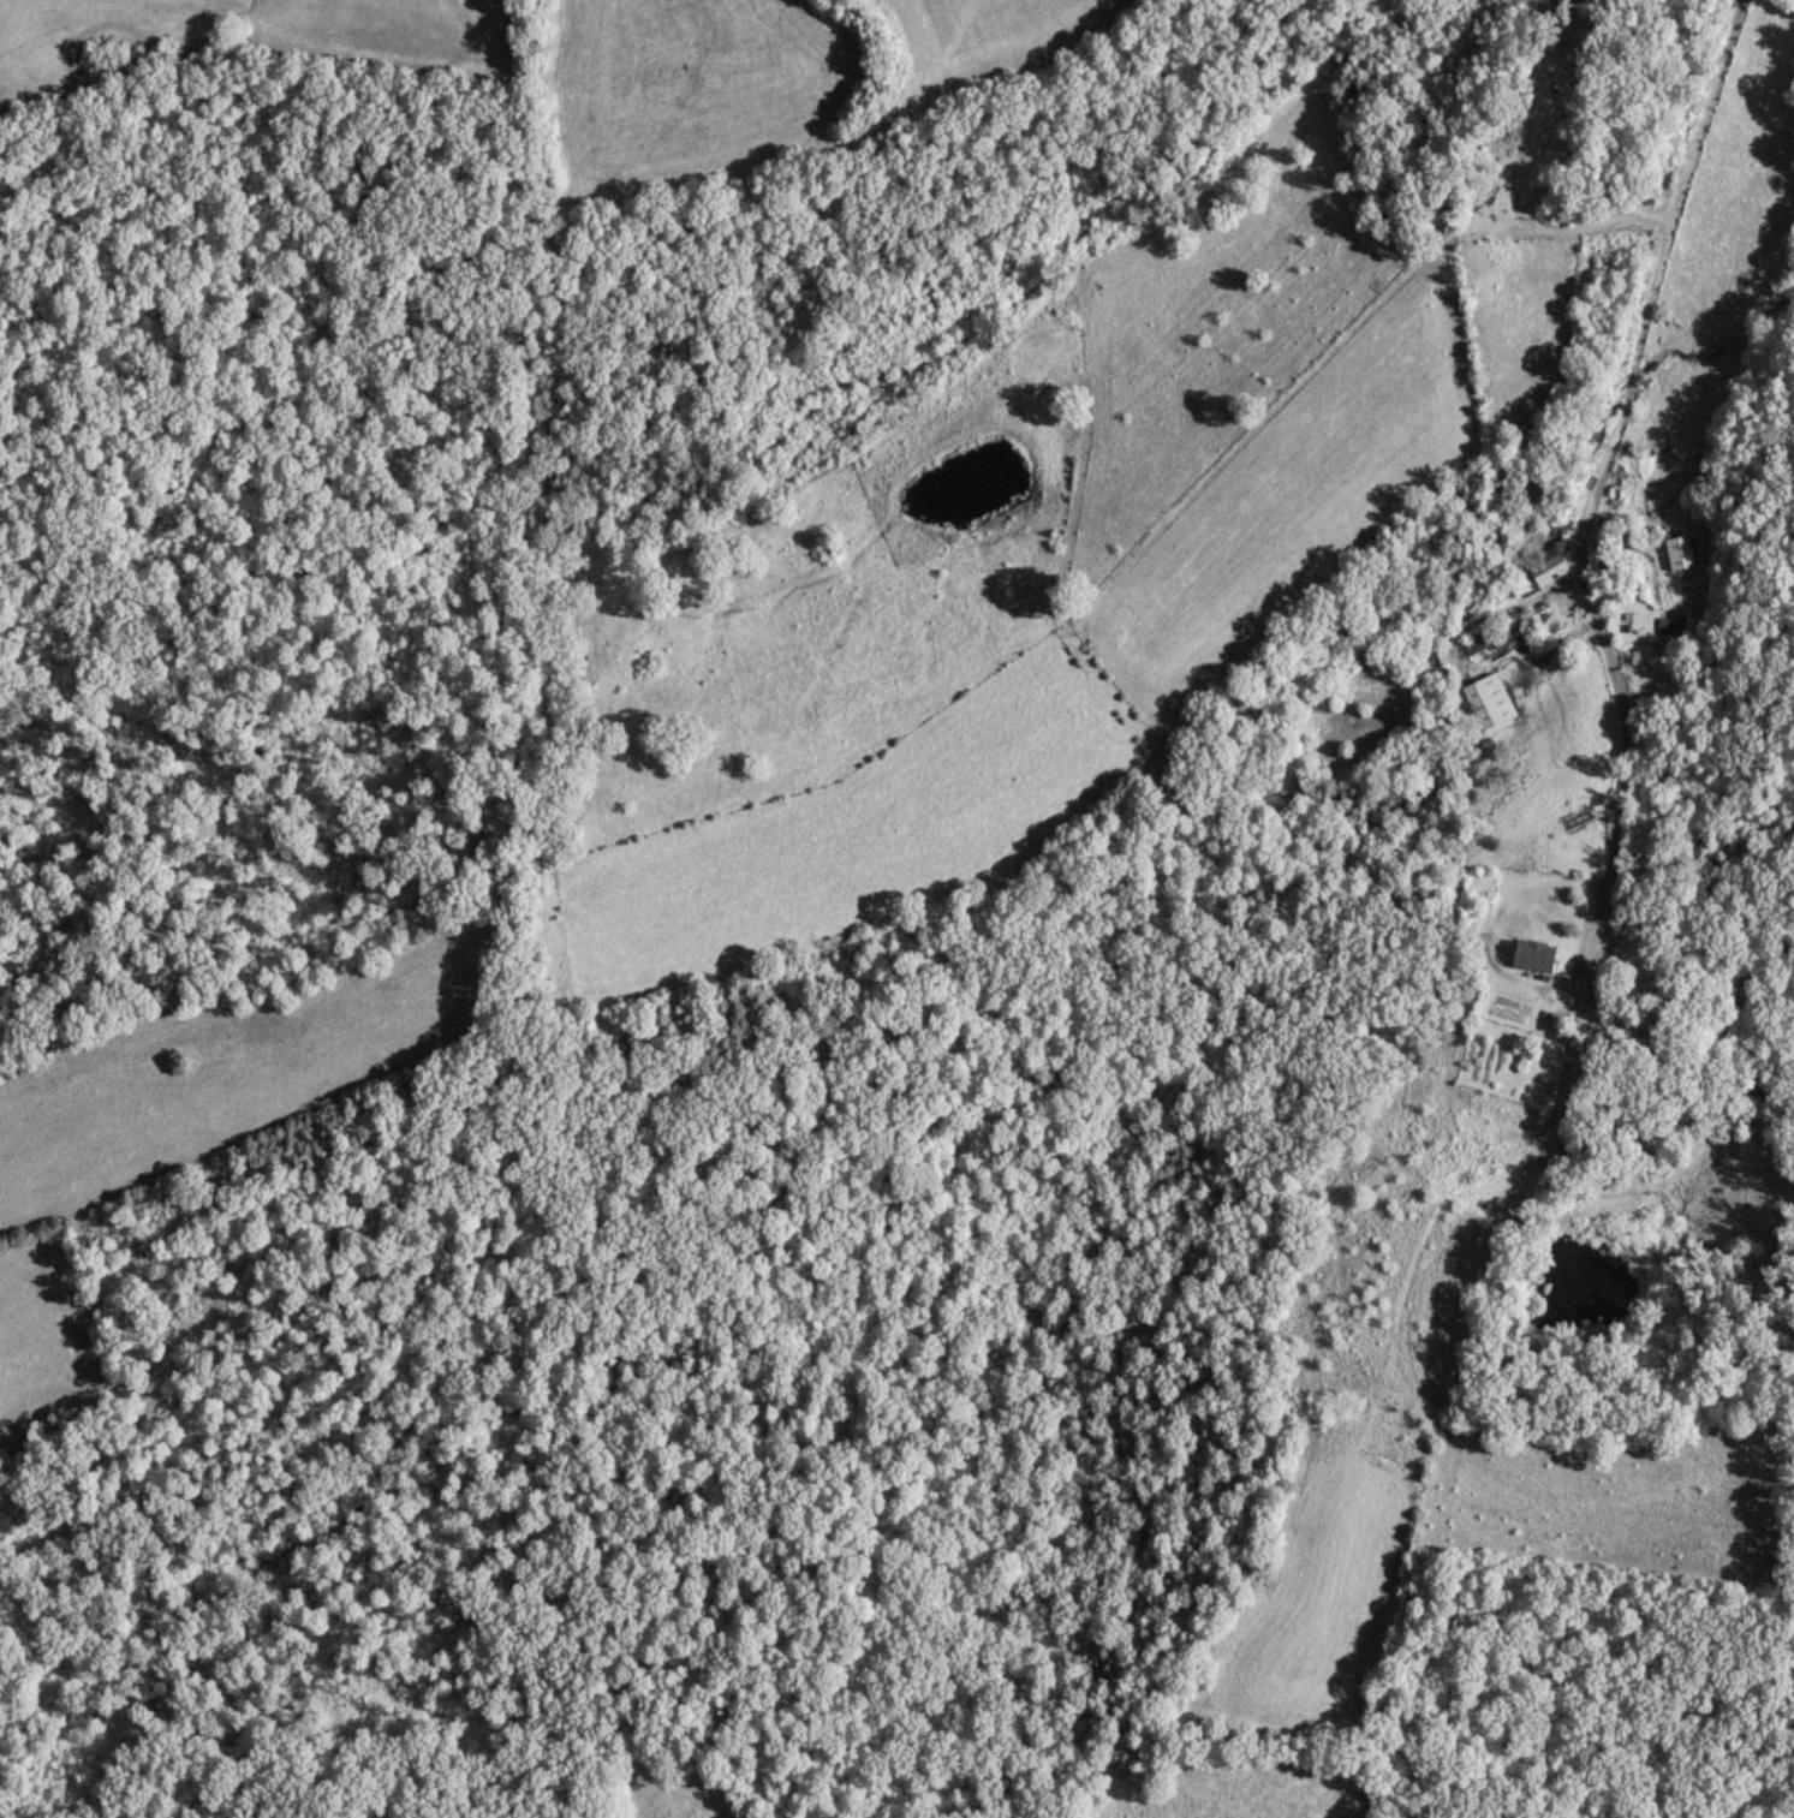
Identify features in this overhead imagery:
road: (1587, 495)
building: (1676, 549)
building: (1544, 564)
building: (1485, 698)
building: (1531, 953)

